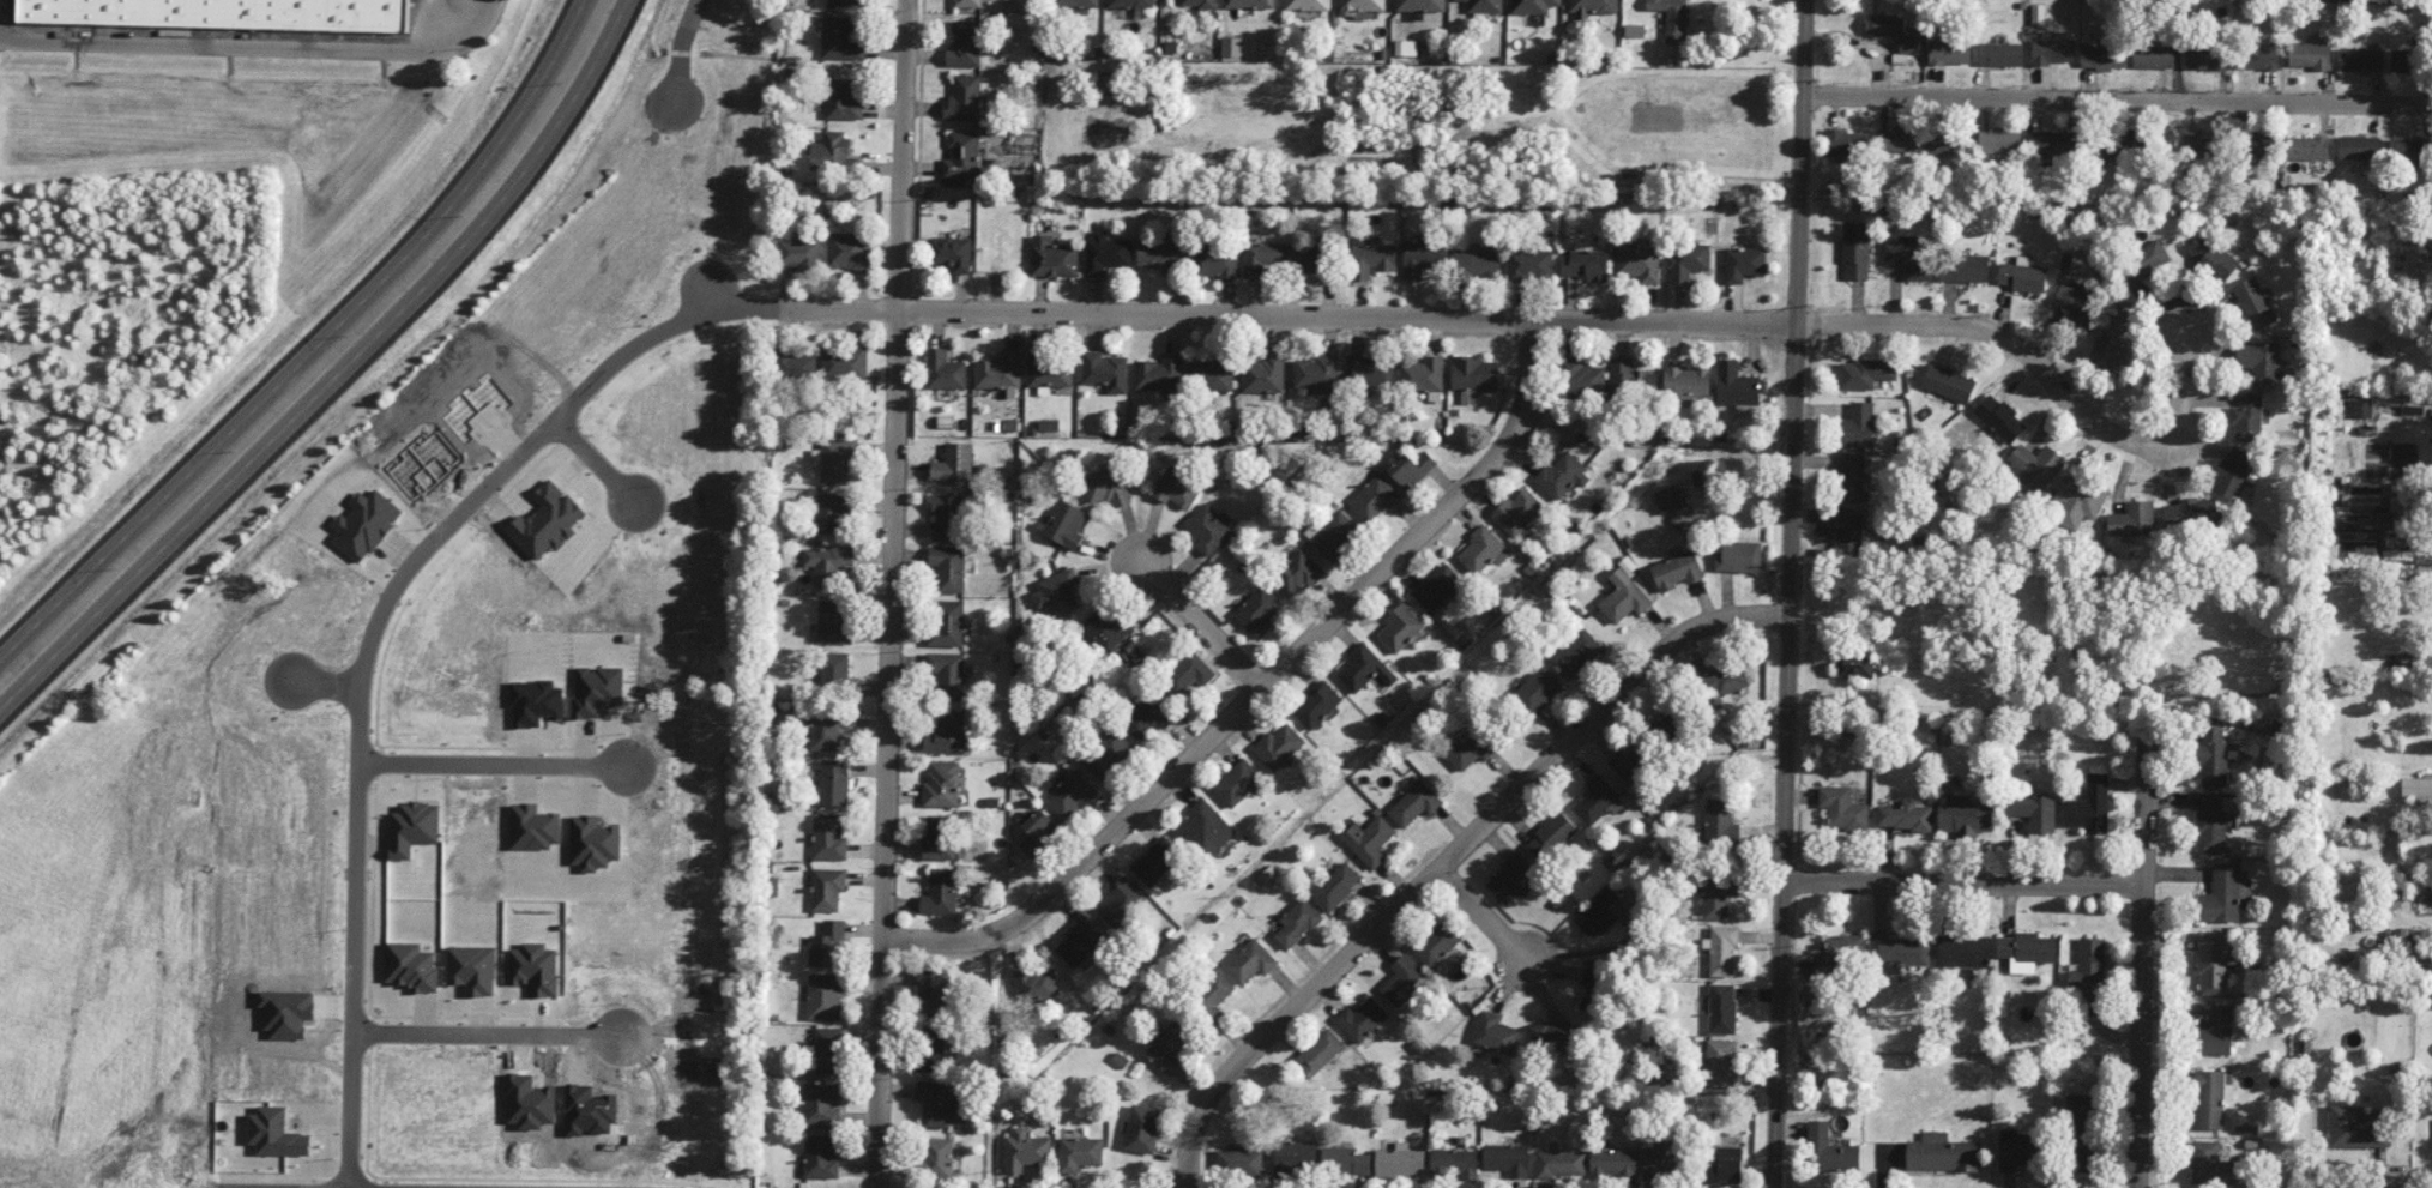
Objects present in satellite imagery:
building: (843, 1)
building: (971, 2)
building: (1075, 2)
building: (1131, 4)
building: (1199, 4)
building: (1248, 4)
building: (1306, 5)
building: (1420, 5)
building: (1484, 6)
building: (1532, 6)
building: (1360, 7)
building: (1592, 7)
building: (222, 13)
building: (1672, 18)
building: (1635, 30)
building: (1891, 31)
building: (841, 40)
building: (965, 43)
road: (259, 48)
building: (1232, 48)
building: (1406, 48)
road: (682, 52)
building: (1949, 52)
building: (2051, 52)
building: (2000, 54)
building: (2310, 55)
building: (2104, 56)
building: (2153, 56)
building: (2258, 56)
building: (2205, 58)
building: (2360, 59)
building: (2407, 61)
building: (843, 98)
building: (962, 98)
road: (2117, 99)
building: (2141, 138)
building: (1897, 140)
building: (1943, 140)
building: (1999, 141)
building: (1847, 143)
building: (2051, 145)
building: (2259, 145)
building: (2307, 147)
building: (2358, 147)
building: (2199, 149)
building: (2408, 151)
building: (833, 152)
building: (962, 158)
building: (1855, 248)
building: (849, 251)
building: (799, 253)
building: (952, 253)
building: (1105, 253)
building: (1160, 253)
building: (2211, 257)
building: (1052, 258)
building: (1265, 258)
building: (1371, 258)
building: (1423, 258)
building: (1311, 260)
building: (1911, 260)
building: (2147, 260)
building: (1215, 261)
building: (1686, 261)
building: (1639, 263)
building: (1477, 264)
building: (1586, 264)
building: (1744, 264)
building: (1529, 265)
building: (1965, 267)
building: (2023, 277)
building: (2253, 302)
building: (2076, 304)
road: (1034, 309)
road: (310, 342)
building: (2112, 342)
building: (2259, 360)
building: (844, 363)
building: (795, 367)
building: (1049, 369)
building: (945, 370)
building: (998, 370)
building: (1105, 370)
building: (1317, 373)
building: (1369, 373)
building: (1865, 373)
building: (1158, 374)
building: (1265, 374)
building: (1422, 374)
building: (1211, 375)
road: (339, 376)
building: (1473, 376)
building: (1583, 376)
building: (1631, 379)
building: (1948, 382)
building: (1736, 384)
building: (1686, 385)
road: (2064, 393)
building: (2360, 408)
building: (2247, 417)
building: (2000, 418)
building: (1049, 424)
building: (1859, 426)
building: (834, 460)
road: (597, 462)
building: (954, 464)
building: (2034, 466)
building: (1412, 469)
building: (2232, 475)
building: (1562, 476)
building: (1852, 477)
building: (1105, 487)
building: (1176, 488)
building: (1374, 499)
building: (1670, 499)
building: (2076, 501)
building: (1517, 512)
building: (831, 513)
building: (2190, 513)
building: (949, 517)
building: (2132, 519)
building: (1064, 523)
building: (364, 524)
building: (1208, 527)
building: (1848, 531)
building: (1334, 533)
building: (1481, 550)
building: (1738, 556)
building: (828, 563)
building: (948, 567)
building: (1677, 571)
building: (1297, 574)
building: (1437, 587)
building: (1057, 592)
road: (889, 593)
road: (1788, 593)
building: (1624, 597)
building: (1260, 610)
road: (2291, 610)
road: (1189, 611)
building: (834, 622)
building: (947, 622)
building: (1108, 628)
building: (1400, 628)
park: (2056, 639)
building: (1577, 652)
building: (1855, 664)
building: (1364, 668)
building: (833, 673)
building: (1189, 673)
building: (947, 674)
building: (1724, 683)
road: (326, 685)
road: (1259, 687)
building: (596, 689)
building: (1537, 691)
building: (535, 702)
building: (1316, 704)
building: (1147, 717)
building: (828, 732)
building: (947, 734)
building: (1278, 746)
building: (1470, 749)
building: (1108, 754)
building: (2213, 755)
road: (495, 762)
building: (1630, 765)
building: (833, 782)
building: (1237, 783)
building: (941, 784)
building: (2416, 786)
building: (1072, 794)
building: (1598, 801)
building: (1414, 803)
building: (2090, 806)
building: (1843, 808)
building: (2033, 810)
building: (1905, 816)
building: (1965, 816)
building: (1720, 820)
building: (2213, 821)
building: (532, 827)
building: (412, 828)
building: (1205, 828)
building: (1038, 832)
building: (1551, 837)
building: (828, 838)
building: (939, 838)
building: (1370, 840)
building: (592, 843)
road: (1447, 857)
building: (1155, 861)
building: (1511, 878)
road: (1963, 882)
building: (1335, 886)
building: (827, 888)
road: (357, 890)
building: (940, 892)
building: (2221, 894)
building: (1716, 897)
building: (1121, 903)
building: (1599, 912)
building: (1297, 923)
road: (1491, 924)
building: (1080, 941)
building: (1437, 943)
building: (827, 945)
building: (1721, 951)
building: (2026, 951)
road: (2140, 951)
building: (1963, 952)
building: (1842, 953)
building: (1899, 953)
building: (1250, 961)
building: (2211, 961)
building: (411, 966)
building: (472, 969)
building: (535, 969)
building: (2088, 971)
building: (1404, 981)
building: (1036, 982)
building: (1594, 990)
building: (933, 993)
building: (1213, 994)
building: (823, 996)
building: (1722, 1008)
building: (1362, 1019)
building: (2216, 1032)
building: (1495, 1033)
road: (487, 1035)
building: (1552, 1036)
building: (1169, 1045)
building: (827, 1049)
building: (931, 1049)
building: (1318, 1053)
building: (1720, 1062)
building: (2228, 1087)
building: (2209, 1099)
building: (937, 1102)
building: (820, 1105)
building: (1142, 1128)
building: (2356, 1128)
building: (276, 1133)
building: (2082, 1133)
building: (1831, 1150)
building: (2018, 1150)
building: (1026, 1151)
building: (1080, 1153)
building: (1942, 1153)
building: (820, 1156)
building: (1296, 1157)
building: (936, 1158)
building: (1508, 1158)
building: (1660, 1159)
building: (1345, 1160)
building: (1239, 1163)
building: (1400, 1163)
building: (1561, 1163)
building: (1613, 1163)
building: (1454, 1164)
building: (1724, 1164)
building: (2214, 1165)

